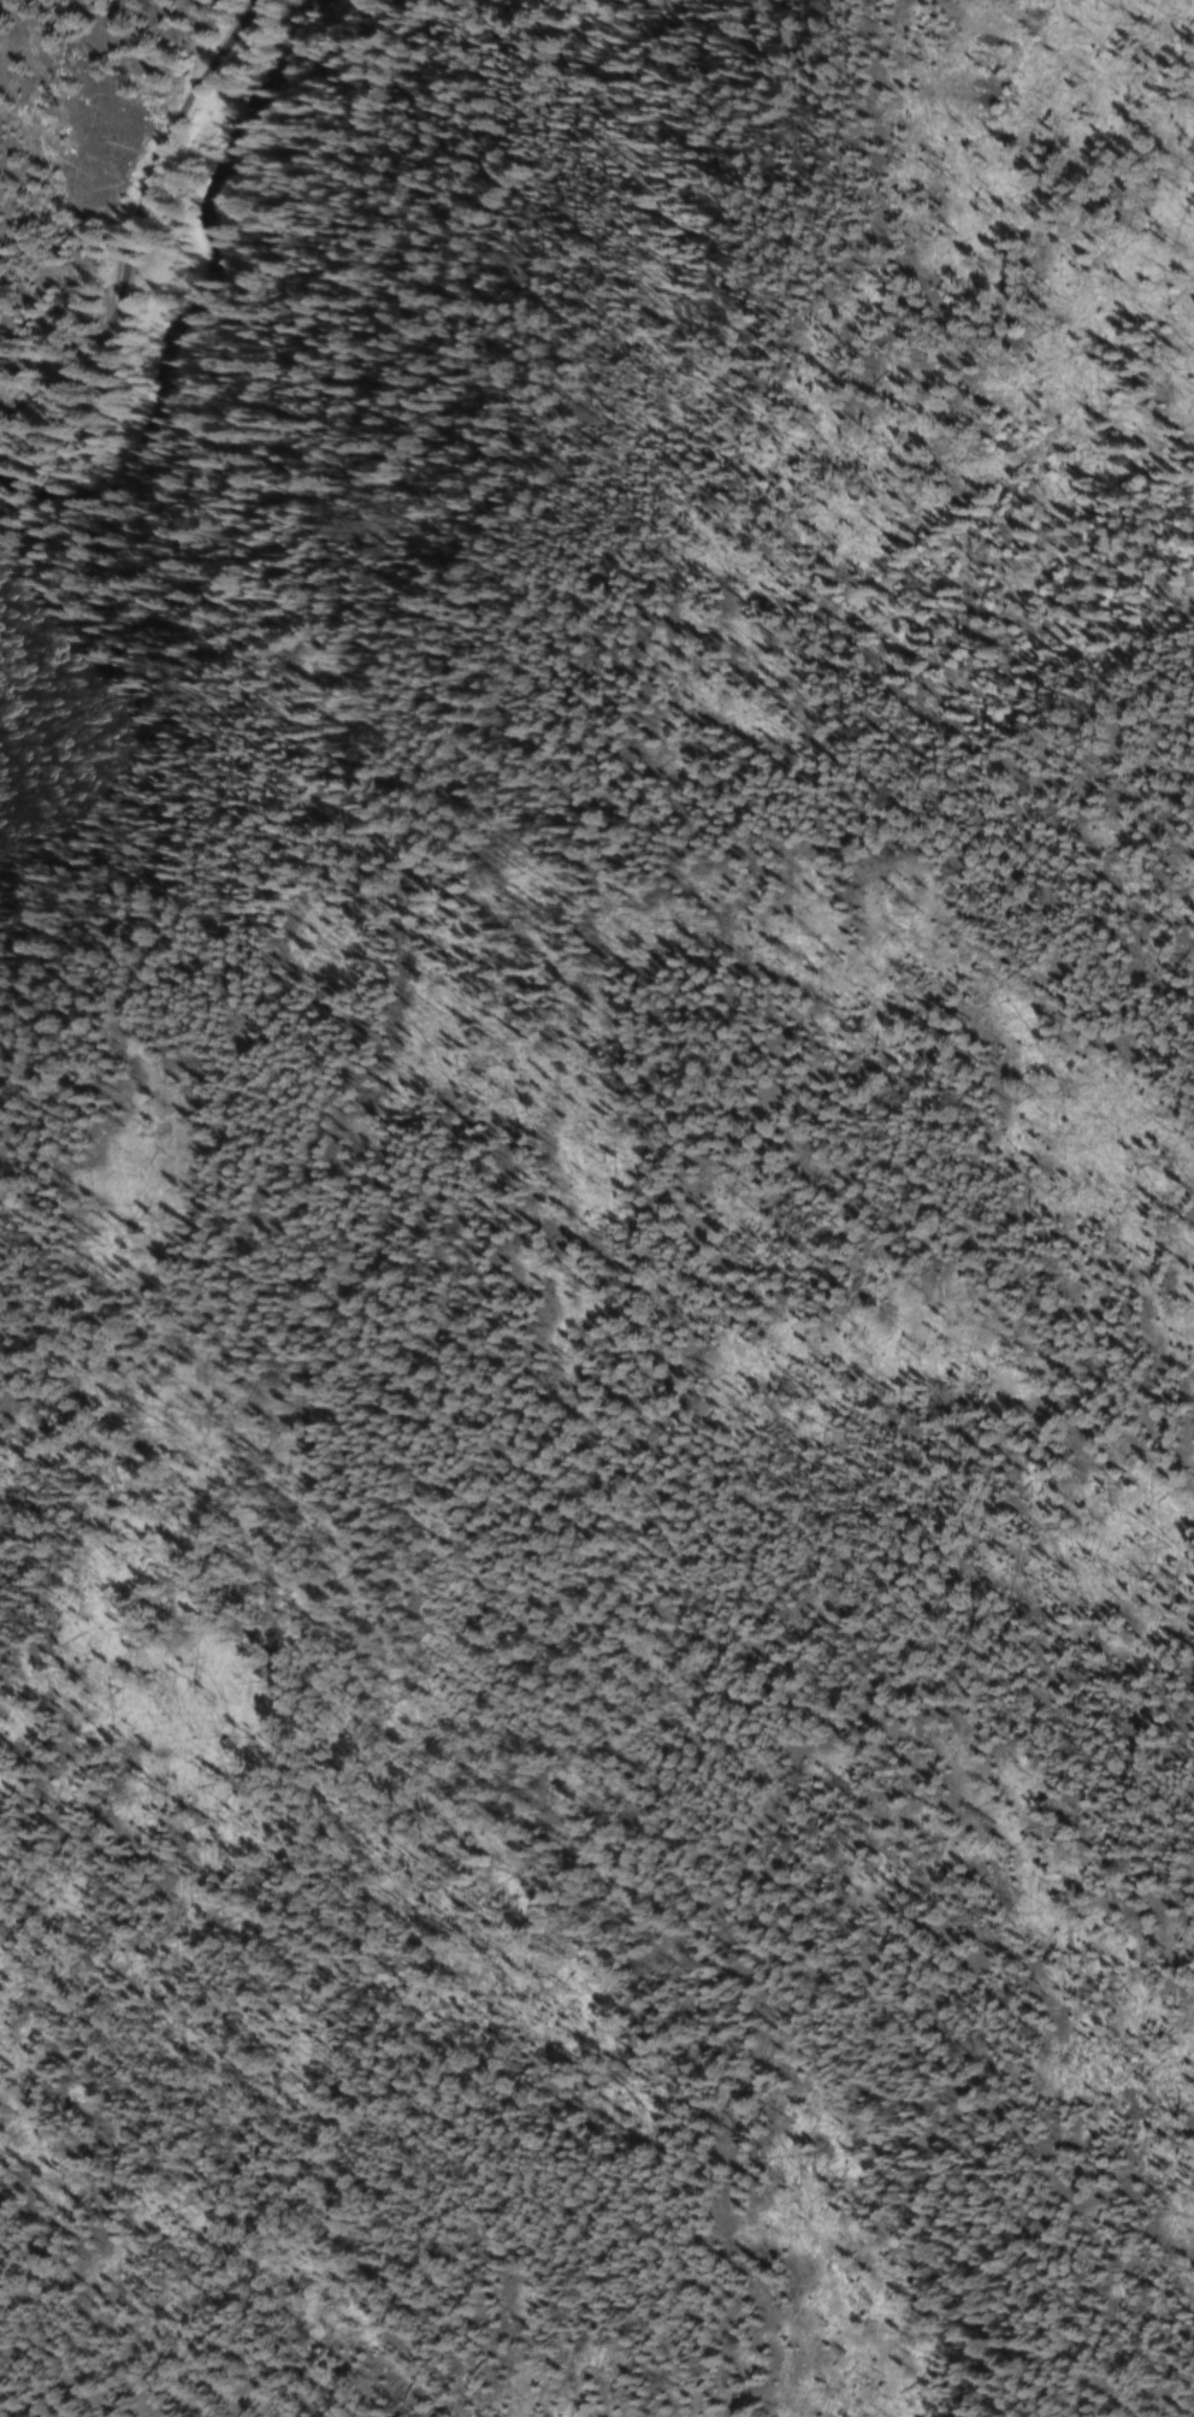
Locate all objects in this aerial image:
road: (131, 218)
river: (187, 287)

